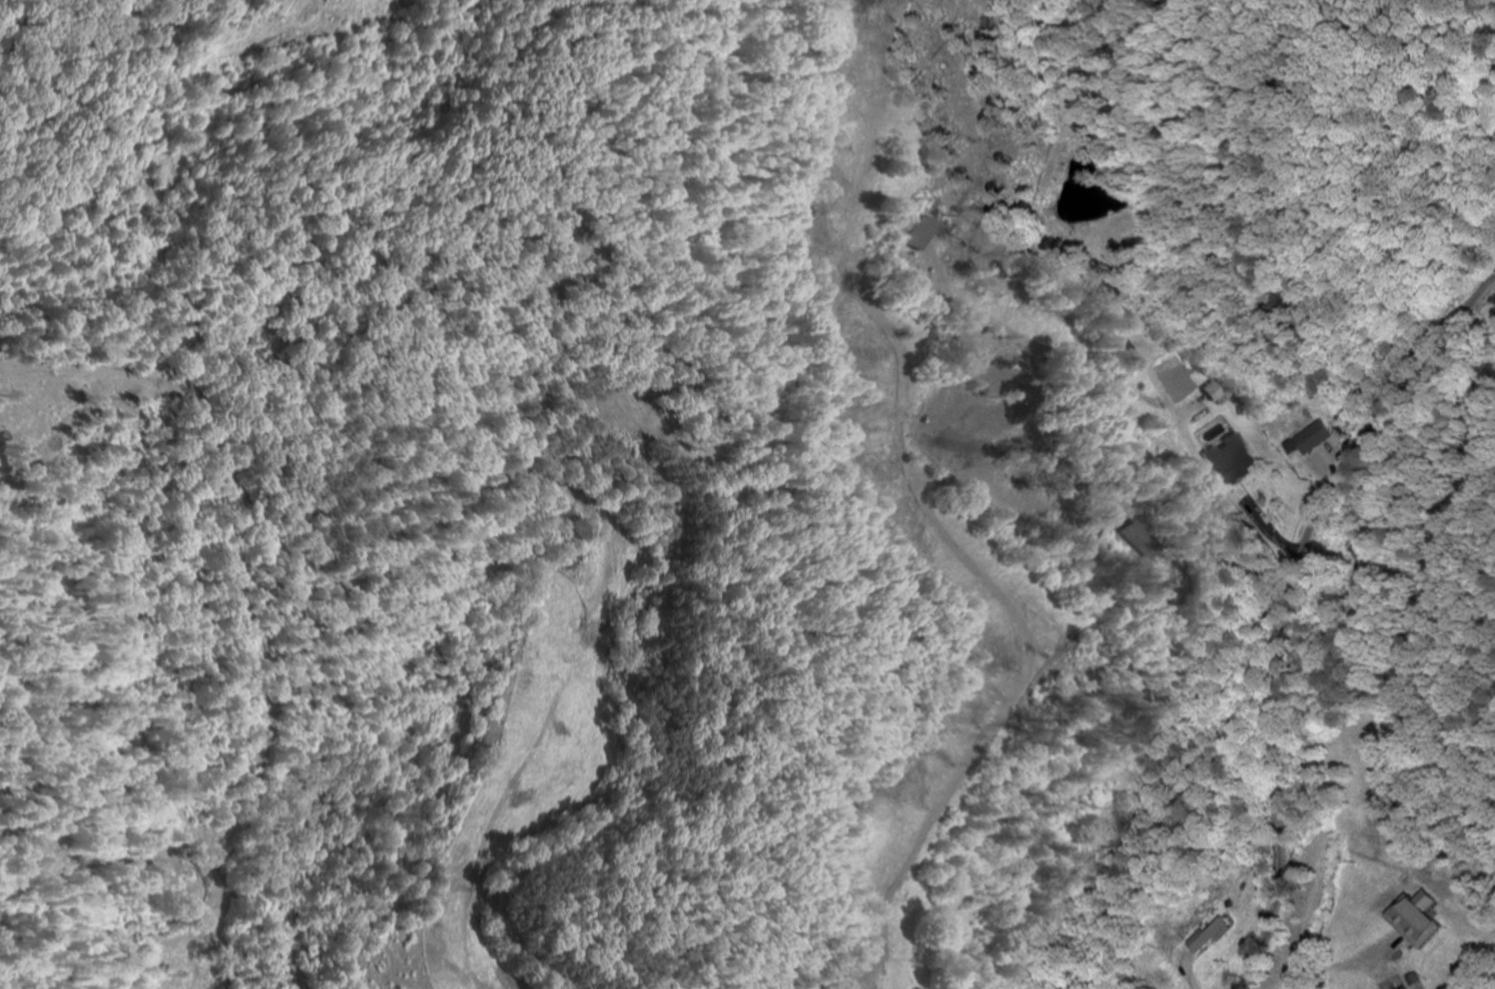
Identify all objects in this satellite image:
building: (1312, 439)
road: (1293, 603)
building: (1209, 937)

